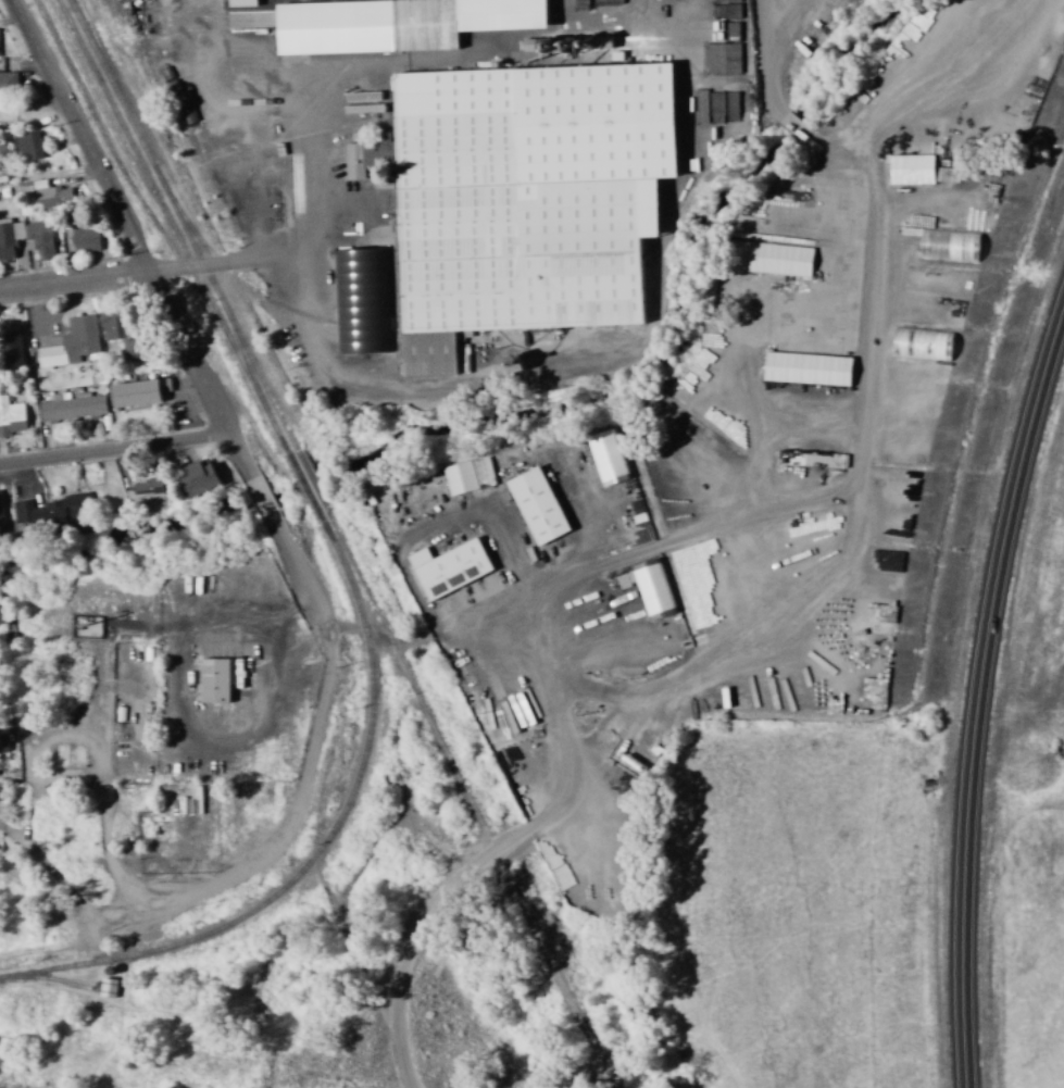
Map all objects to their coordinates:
building: (242, 3)
building: (719, 32)
building: (406, 36)
building: (718, 63)
building: (170, 71)
building: (8, 82)
building: (255, 113)
railway: (107, 124)
building: (29, 146)
building: (358, 160)
building: (912, 170)
railway: (123, 174)
building: (53, 196)
building: (533, 211)
railway: (181, 225)
railway: (171, 227)
building: (86, 238)
road: (134, 241)
building: (949, 246)
building: (45, 249)
building: (771, 259)
railway: (231, 274)
road: (130, 276)
building: (364, 311)
building: (121, 335)
building: (72, 345)
building: (923, 345)
building: (11, 349)
railway: (247, 362)
building: (808, 368)
building: (433, 370)
building: (138, 392)
building: (72, 407)
building: (11, 416)
road: (115, 450)
building: (605, 457)
building: (483, 472)
building: (198, 478)
building: (460, 478)
railway: (314, 485)
building: (147, 488)
railway: (304, 488)
road: (265, 504)
building: (900, 504)
building: (538, 505)
building: (52, 511)
building: (1, 513)
building: (449, 567)
building: (216, 681)
road: (978, 690)
road: (313, 766)
building: (0, 799)
railway: (473, 803)
railway: (318, 853)
railway: (62, 980)
railway: (83, 986)

